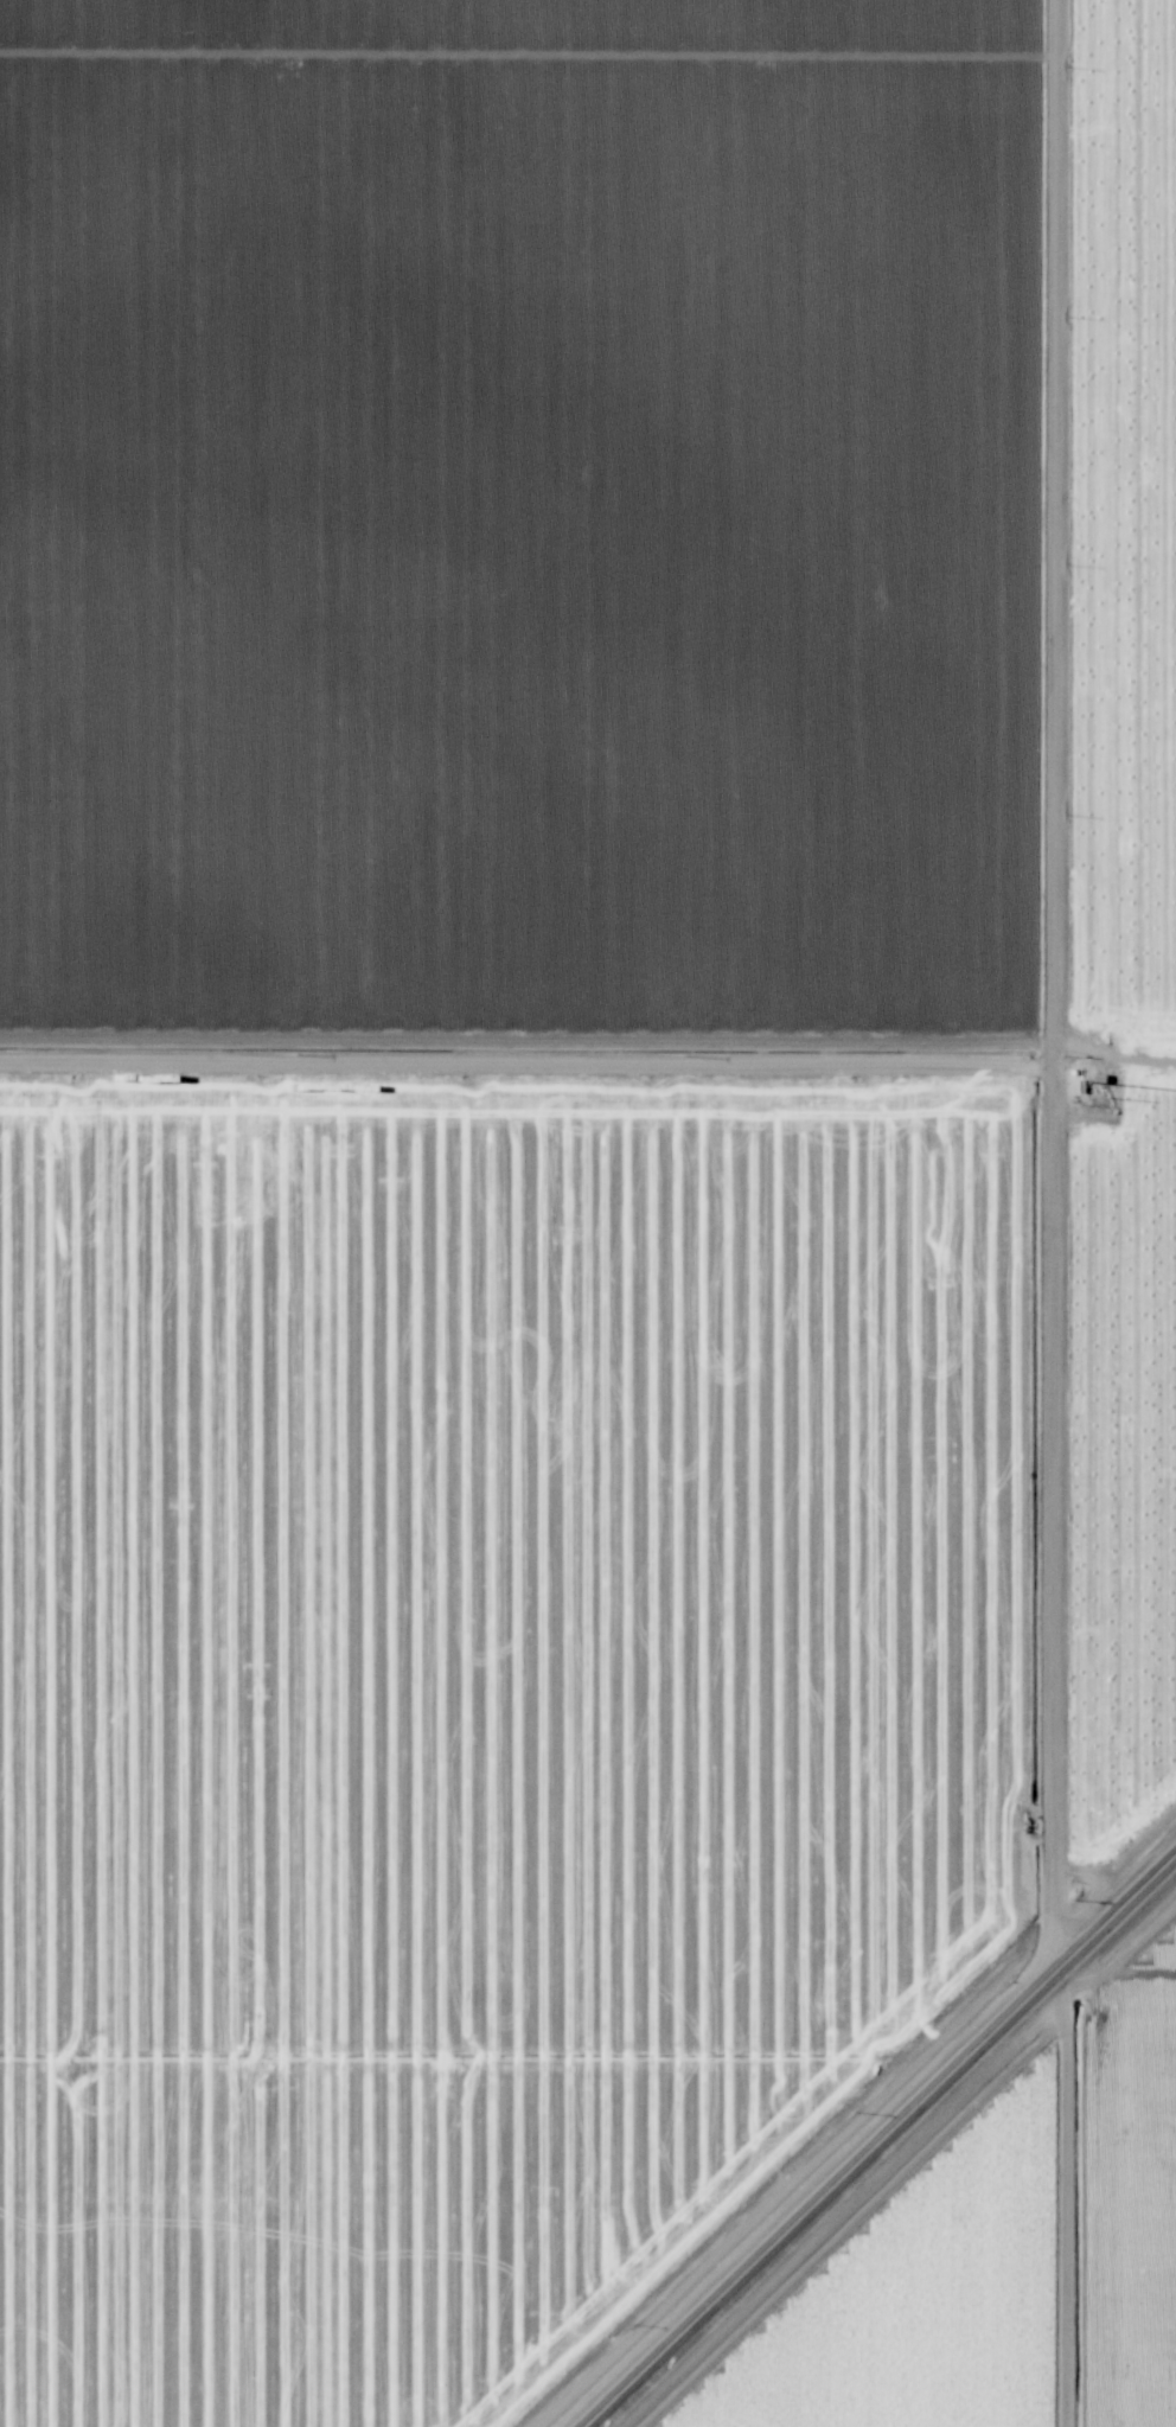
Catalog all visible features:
road: (1063, 542)
road: (510, 1064)
road: (1029, 1750)
road: (887, 2146)

